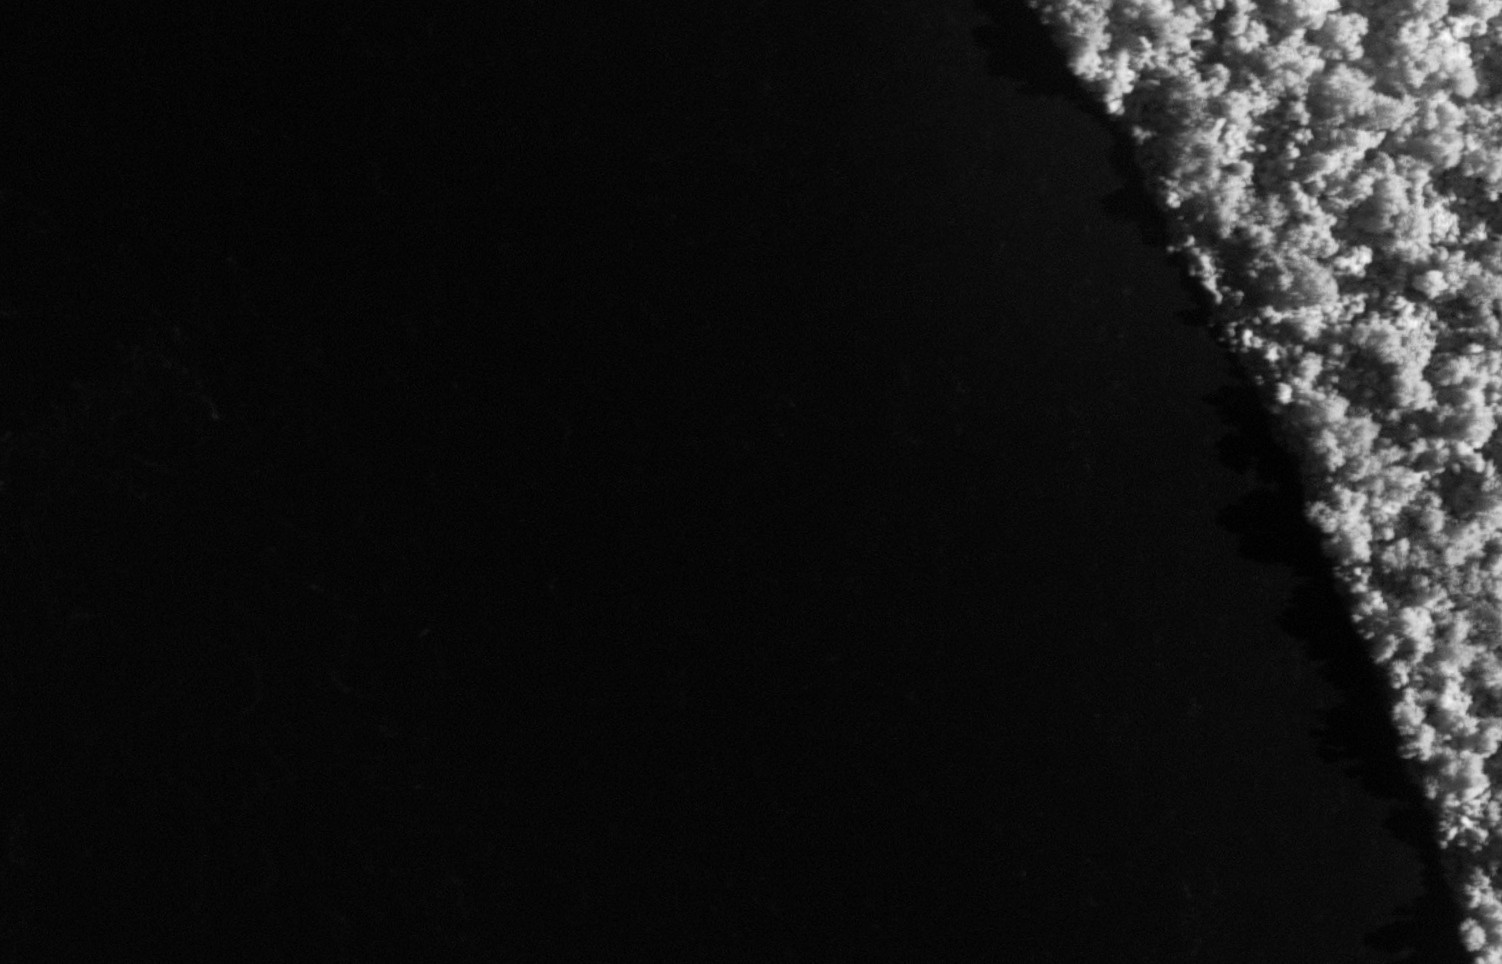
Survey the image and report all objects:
river: (282, 482)

